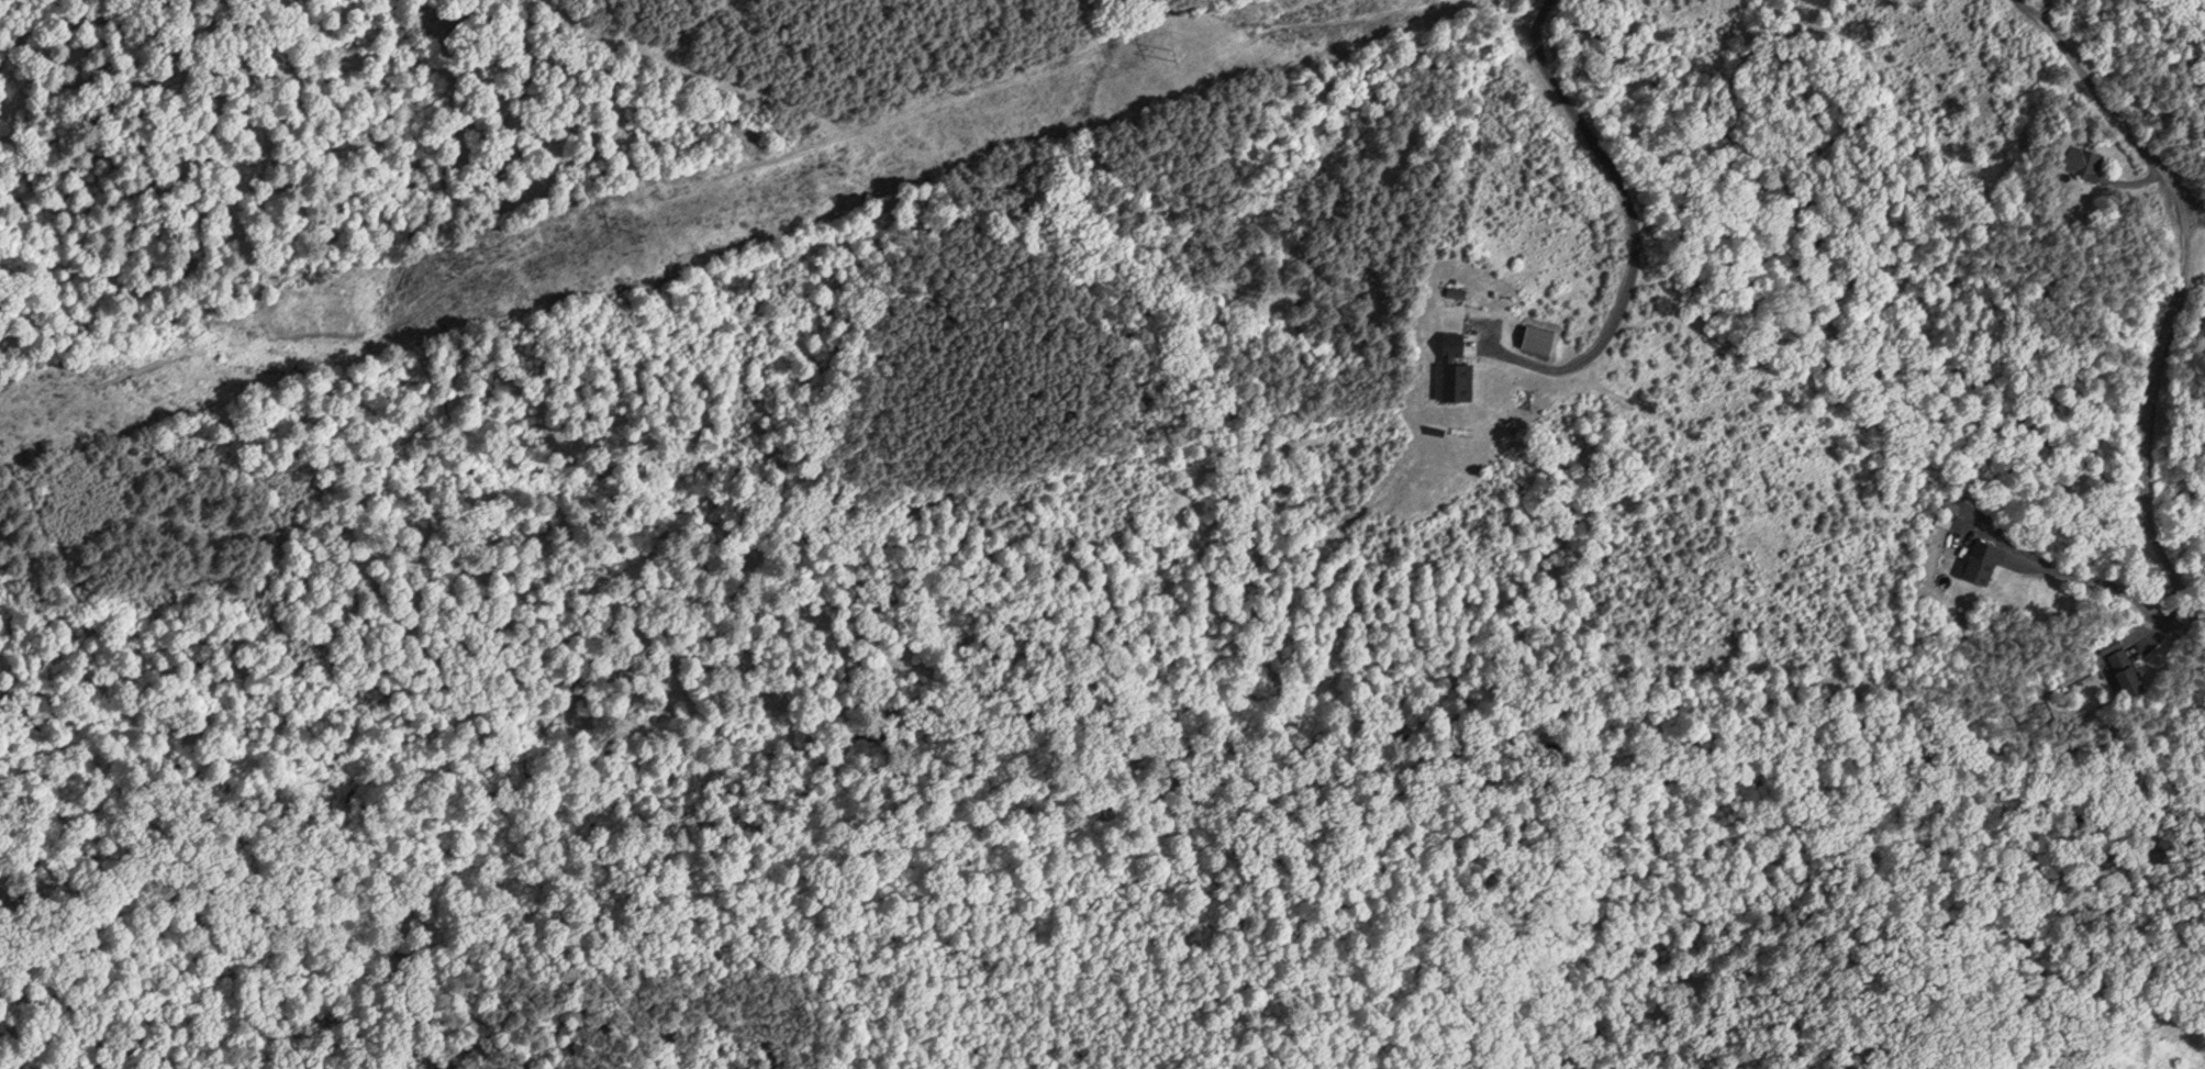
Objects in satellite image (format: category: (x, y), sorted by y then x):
building: (2076, 160)
road: (1636, 224)
road: (2179, 288)
building: (1445, 367)
building: (1974, 560)
road: (2092, 579)
building: (2118, 665)

